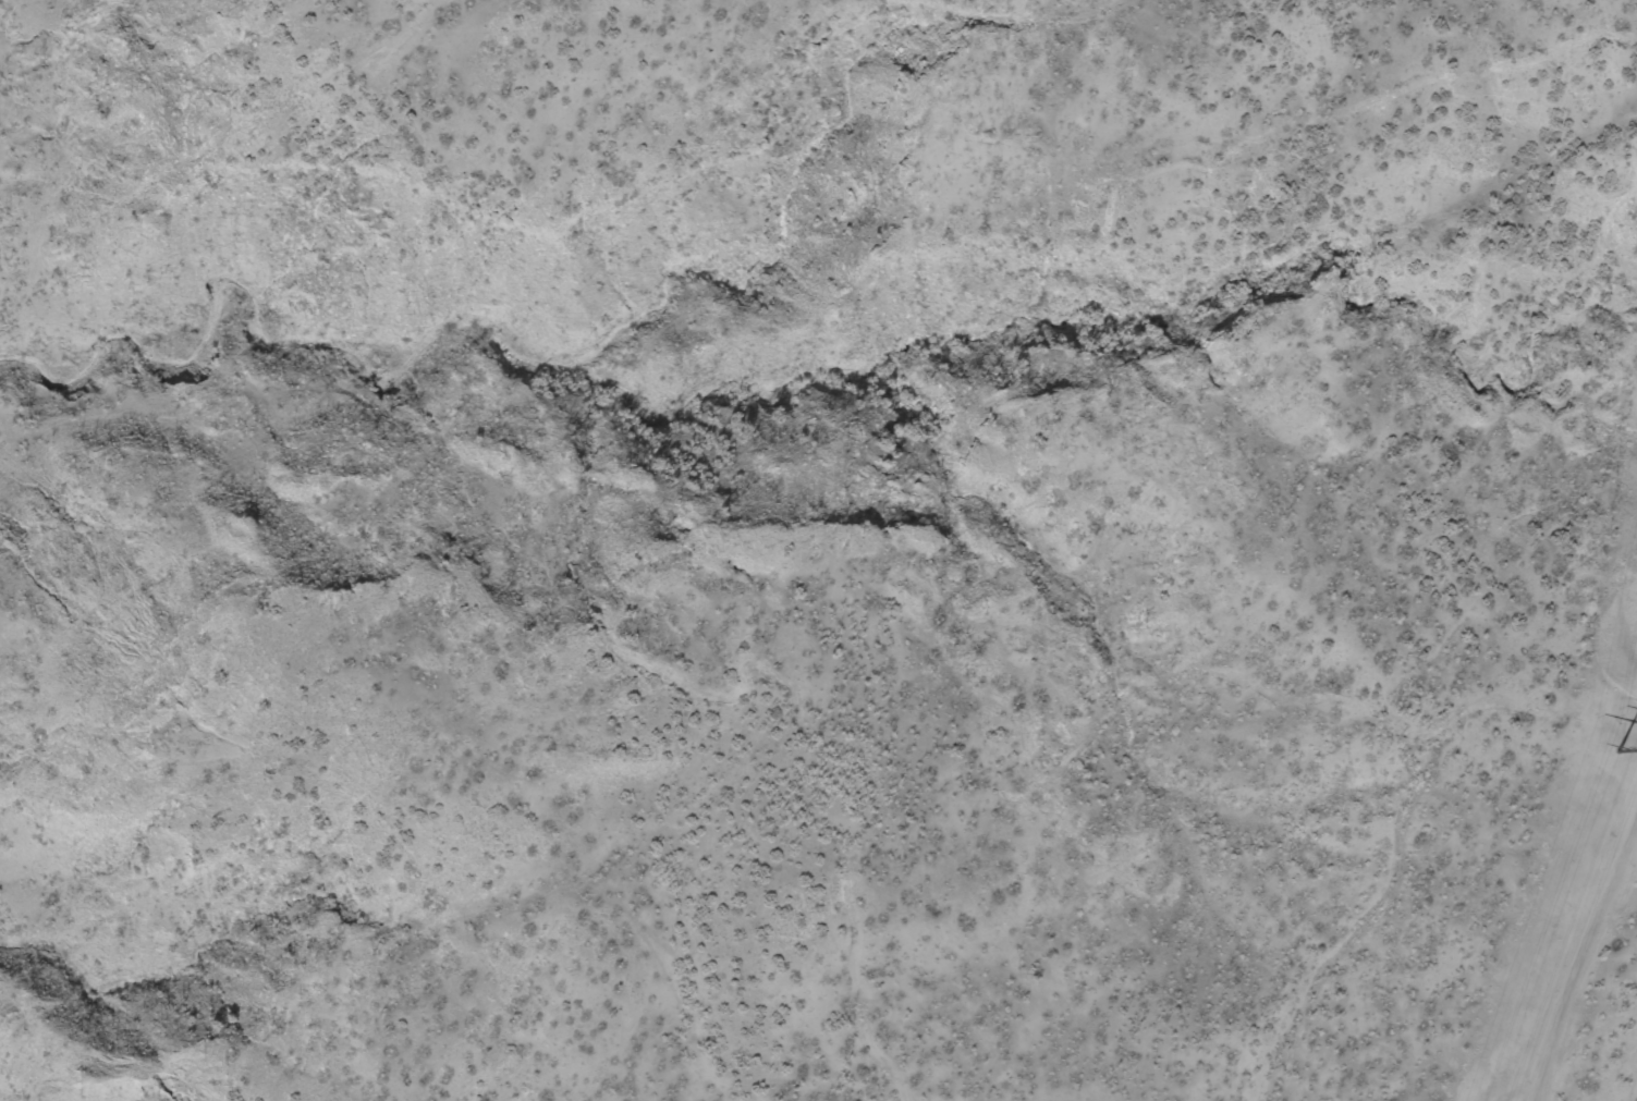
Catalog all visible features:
power tower: (1615, 751)

